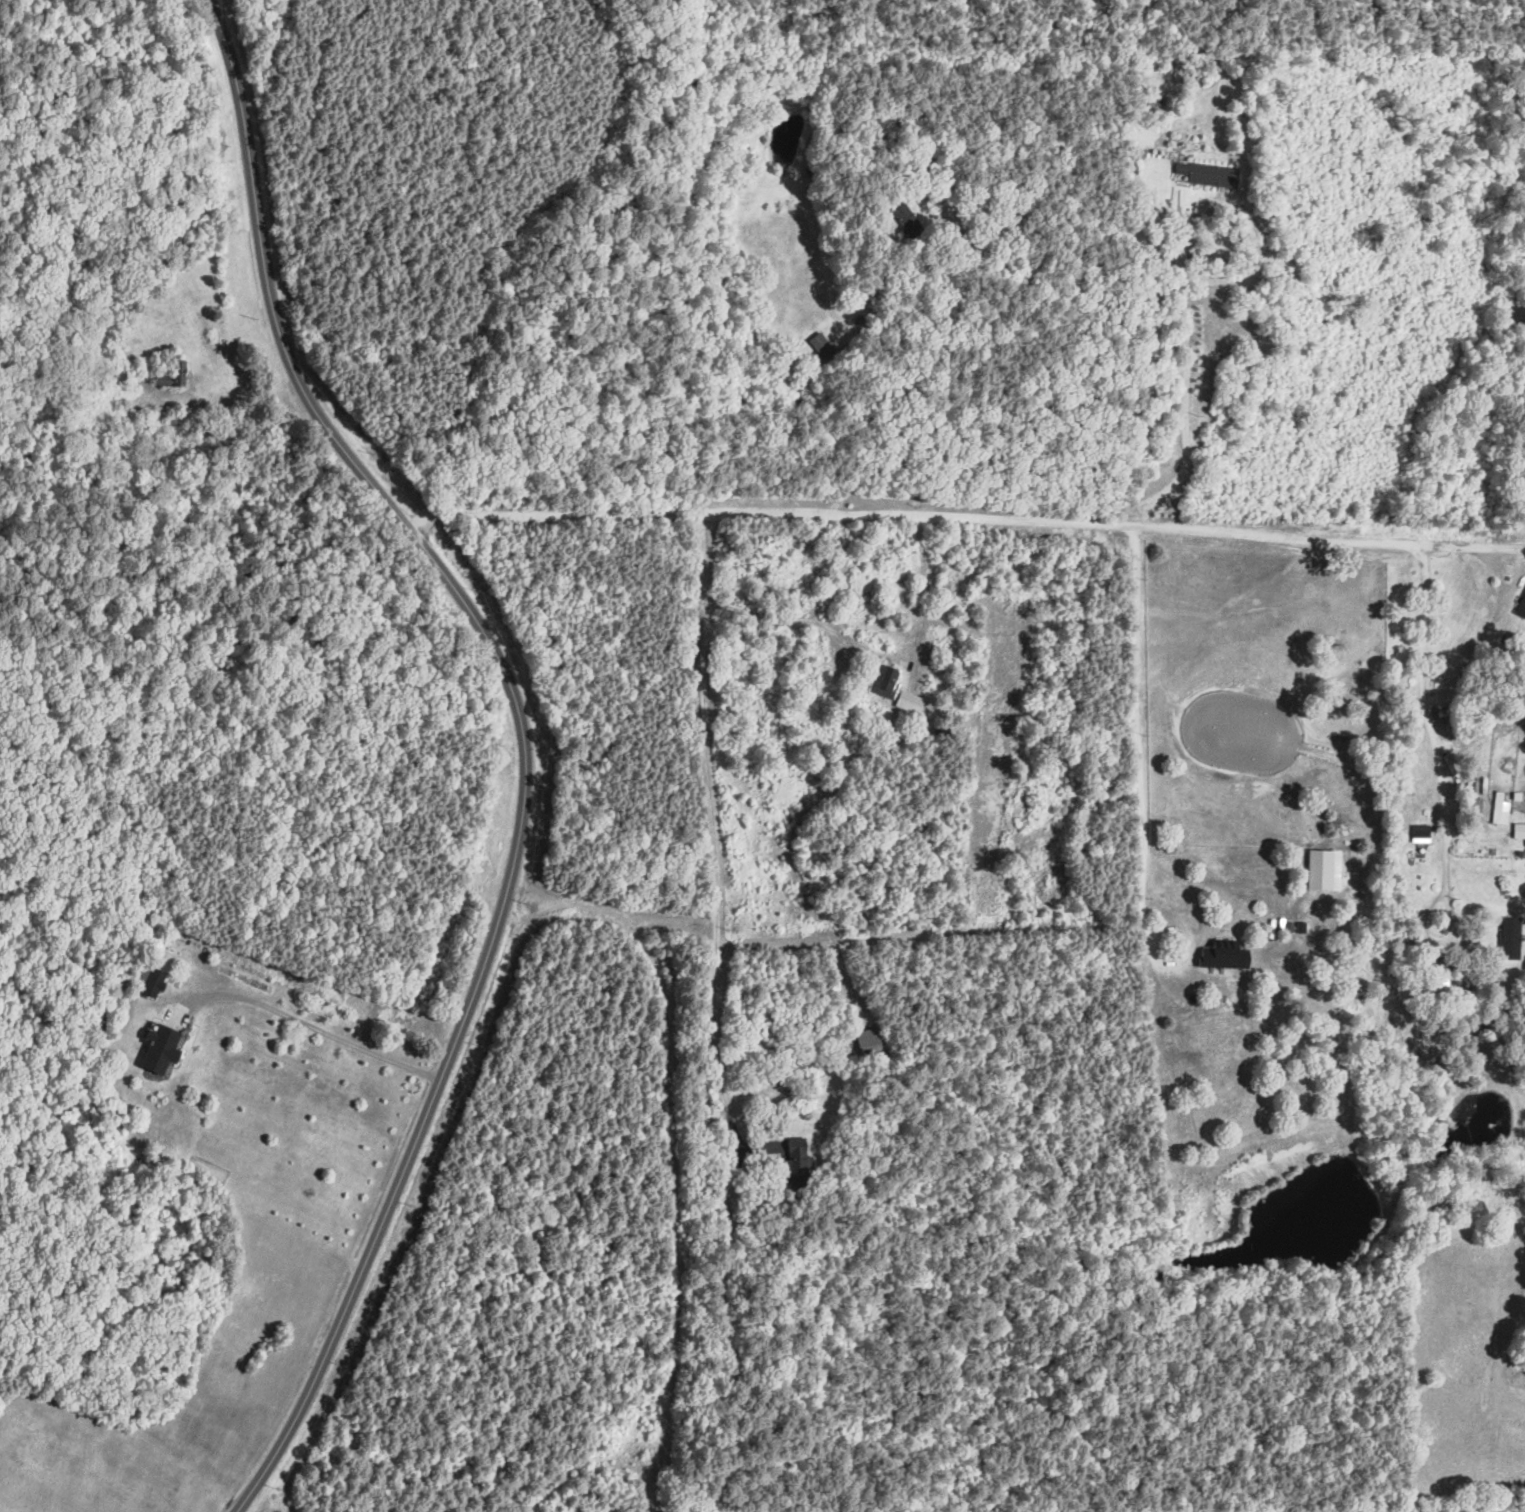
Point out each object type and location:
building: (1209, 174)
road: (937, 369)
building: (230, 490)
road: (957, 516)
road: (1137, 577)
building: (1522, 607)
road: (872, 644)
building: (885, 680)
building: (910, 701)
road: (528, 743)
road: (1437, 778)
building: (1501, 808)
building: (1520, 830)
building: (1420, 833)
road: (711, 851)
building: (1325, 868)
building: (1512, 938)
building: (1227, 955)
building: (153, 982)
road: (315, 1030)
building: (869, 1040)
building: (163, 1049)
building: (796, 1162)

